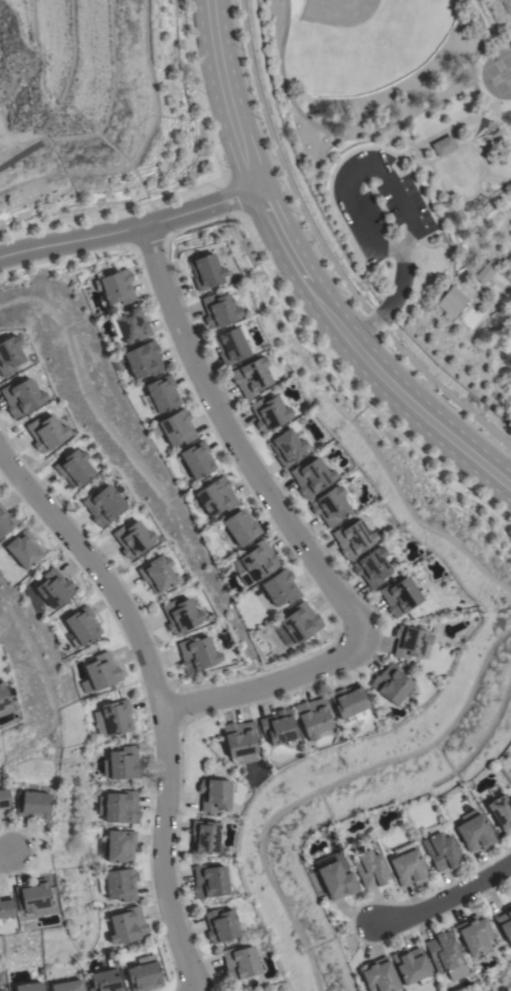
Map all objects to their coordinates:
road: (195, 90)
road: (225, 96)
building: (443, 146)
road: (227, 198)
road: (396, 198)
road: (129, 229)
road: (279, 237)
road: (326, 253)
building: (507, 268)
building: (206, 272)
building: (486, 272)
building: (117, 287)
street lamp: (343, 294)
building: (451, 302)
building: (219, 310)
building: (131, 325)
building: (232, 346)
street lamp: (327, 348)
street lamp: (390, 350)
building: (9, 355)
building: (144, 360)
building: (251, 377)
road: (354, 387)
building: (162, 393)
road: (399, 395)
building: (21, 397)
building: (270, 412)
building: (175, 428)
building: (45, 433)
building: (290, 446)
building: (197, 459)
building: (73, 468)
building: (312, 477)
building: (216, 496)
building: (102, 505)
building: (330, 506)
building: (6, 521)
road: (293, 521)
building: (241, 527)
building: (132, 539)
building: (353, 539)
building: (24, 549)
building: (258, 562)
building: (374, 566)
building: (156, 573)
building: (54, 588)
building: (281, 588)
building: (401, 596)
building: (180, 615)
building: (296, 625)
building: (81, 626)
building: (411, 642)
building: (196, 654)
building: (100, 673)
building: (392, 684)
road: (163, 694)
building: (3, 697)
building: (349, 701)
building: (314, 717)
building: (115, 718)
building: (279, 727)
building: (239, 739)
building: (122, 763)
building: (215, 794)
building: (3, 799)
building: (32, 805)
building: (120, 807)
building: (501, 812)
building: (475, 833)
building: (205, 837)
building: (118, 846)
building: (441, 847)
road: (7, 854)
building: (408, 865)
building: (370, 868)
building: (337, 875)
building: (210, 882)
building: (119, 884)
building: (31, 896)
road: (442, 899)
building: (5, 907)
building: (505, 923)
building: (0, 925)
building: (222, 925)
building: (127, 926)
building: (474, 935)
building: (442, 952)
building: (240, 963)
building: (411, 966)
building: (456, 970)
building: (143, 976)
building: (379, 976)
building: (104, 981)
building: (29, 986)
building: (67, 986)
building: (3, 990)

